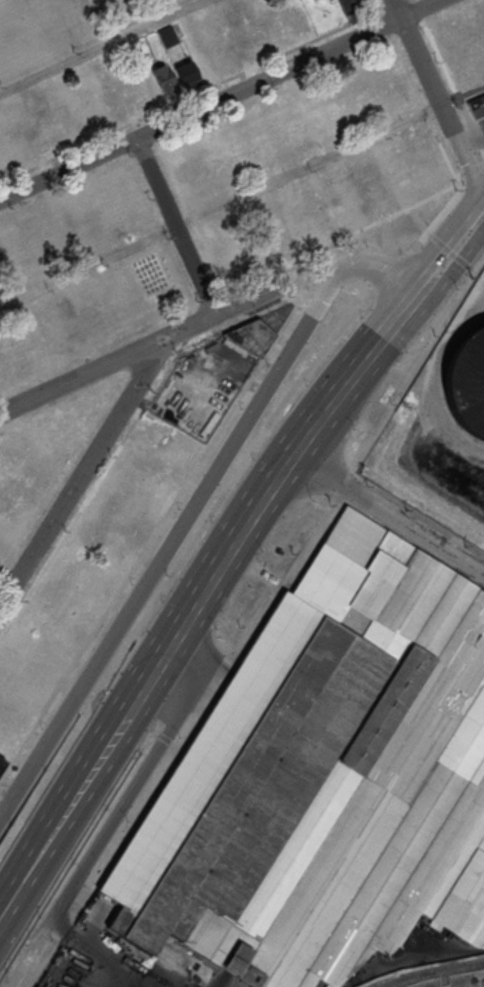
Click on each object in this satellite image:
building: (346, 2)
building: (298, 19)
building: (168, 36)
road: (99, 46)
building: (222, 57)
building: (188, 74)
building: (164, 77)
building: (145, 85)
road: (461, 93)
road: (219, 100)
road: (438, 102)
building: (477, 107)
road: (220, 209)
road: (174, 226)
road: (207, 317)
building: (251, 336)
building: (467, 381)
storage tank: (467, 381)
road: (313, 426)
building: (3, 451)
road: (83, 469)
building: (35, 475)
road: (387, 513)
road: (171, 544)
building: (2, 546)
road: (143, 684)
building: (2, 762)
building: (324, 777)
road: (137, 784)
road: (62, 815)
road: (94, 950)
railway: (423, 969)

